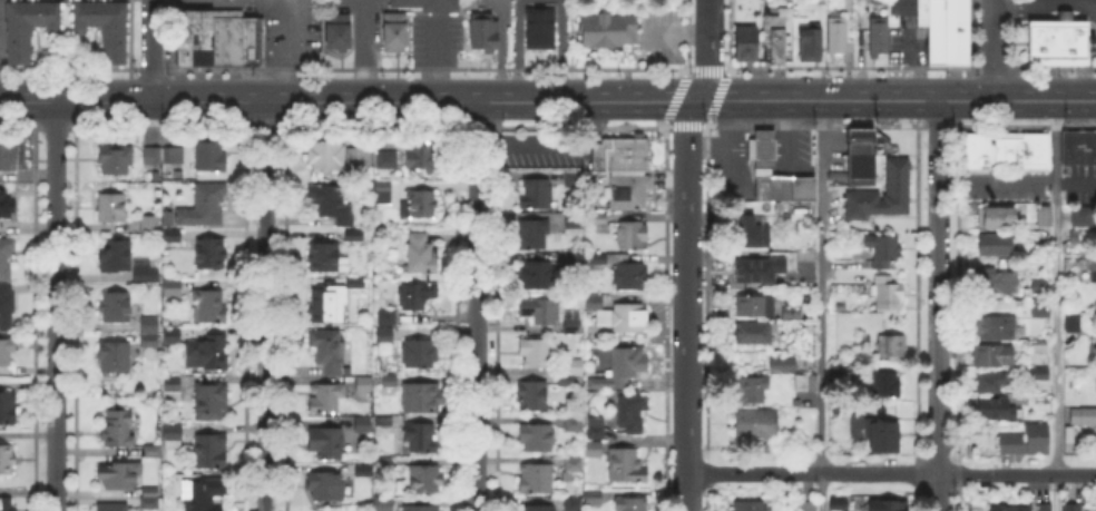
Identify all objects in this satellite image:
building: (431, 2)
road: (1044, 2)
building: (540, 26)
building: (29, 27)
building: (105, 27)
building: (394, 28)
building: (940, 28)
building: (609, 30)
building: (339, 31)
building: (486, 31)
building: (838, 33)
building: (880, 35)
building: (221, 36)
building: (774, 37)
building: (1059, 40)
building: (811, 41)
building: (745, 43)
road: (150, 50)
road: (286, 50)
road: (994, 50)
road: (361, 51)
road: (894, 100)
traffic signals: (695, 101)
road: (346, 102)
building: (1079, 147)
building: (1007, 150)
building: (8, 155)
building: (153, 155)
building: (361, 156)
building: (173, 157)
building: (211, 157)
building: (326, 157)
building: (422, 157)
building: (861, 157)
building: (389, 158)
building: (116, 159)
building: (766, 163)
building: (625, 170)
building: (898, 175)
building: (574, 179)
road: (996, 181)
building: (383, 191)
building: (536, 193)
building: (332, 202)
building: (420, 204)
building: (7, 206)
building: (112, 207)
building: (204, 207)
building: (1084, 215)
building: (996, 216)
building: (1045, 216)
building: (574, 219)
building: (599, 220)
building: (150, 223)
building: (752, 232)
building: (534, 234)
building: (173, 235)
building: (354, 235)
building: (632, 235)
building: (997, 243)
building: (883, 248)
building: (212, 252)
building: (421, 253)
road: (686, 253)
building: (7, 255)
building: (116, 255)
building: (327, 257)
building: (571, 258)
building: (603, 259)
building: (1075, 269)
building: (1095, 269)
building: (759, 271)
building: (146, 274)
building: (630, 275)
building: (536, 277)
building: (1000, 281)
building: (356, 282)
road: (821, 285)
building: (173, 286)
building: (1040, 286)
building: (888, 292)
building: (417, 296)
building: (323, 304)
building: (755, 305)
building: (6, 306)
road: (55, 306)
building: (208, 306)
road: (265, 306)
road: (477, 306)
road: (937, 306)
road: (1056, 306)
building: (115, 307)
building: (1041, 308)
building: (540, 311)
building: (793, 312)
building: (619, 315)
building: (388, 316)
building: (1074, 322)
building: (573, 325)
building: (995, 327)
building: (151, 330)
building: (755, 332)
building: (172, 335)
building: (384, 335)
building: (892, 346)
building: (1038, 346)
building: (1095, 348)
building: (327, 350)
building: (208, 352)
building: (4, 353)
building: (419, 353)
building: (537, 353)
building: (116, 356)
building: (992, 356)
building: (783, 364)
building: (575, 366)
building: (620, 368)
building: (1039, 373)
building: (849, 374)
building: (568, 382)
building: (806, 382)
building: (992, 382)
building: (887, 383)
building: (364, 384)
building: (390, 384)
building: (1095, 384)
building: (173, 386)
building: (752, 389)
building: (532, 395)
building: (326, 397)
building: (422, 397)
building: (212, 400)
building: (8, 406)
building: (996, 409)
building: (632, 413)
building: (1084, 417)
building: (364, 423)
building: (575, 423)
building: (384, 425)
building: (760, 426)
building: (118, 428)
building: (596, 428)
building: (877, 432)
building: (173, 435)
building: (421, 436)
building: (537, 436)
building: (1027, 440)
building: (327, 441)
building: (594, 449)
building: (155, 450)
building: (212, 451)
building: (7, 460)
building: (384, 461)
building: (575, 464)
building: (626, 464)
road: (891, 469)
building: (364, 470)
building: (120, 474)
building: (537, 476)
building: (422, 479)
building: (326, 485)
road: (821, 490)
building: (205, 493)
building: (151, 499)
building: (584, 501)
building: (839, 503)
building: (7, 504)
building: (383, 504)
building: (632, 504)
building: (748, 505)
building: (887, 505)
building: (112, 507)
building: (538, 507)
building: (808, 507)
building: (1071, 507)
building: (419, 508)
building: (1009, 508)
building: (1046, 508)

